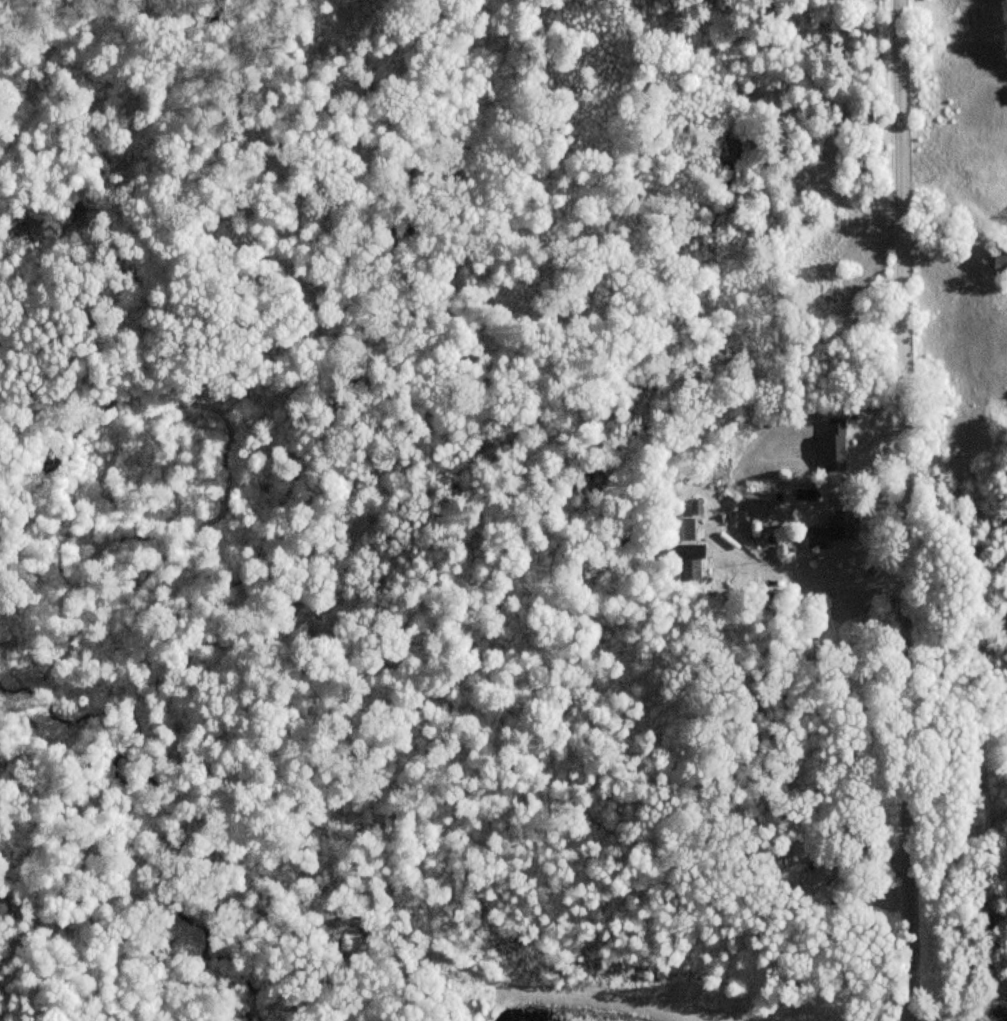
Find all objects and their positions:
building: (998, 264)
building: (830, 446)
road: (899, 510)
building: (681, 530)
building: (831, 530)
building: (687, 566)
building: (818, 878)

